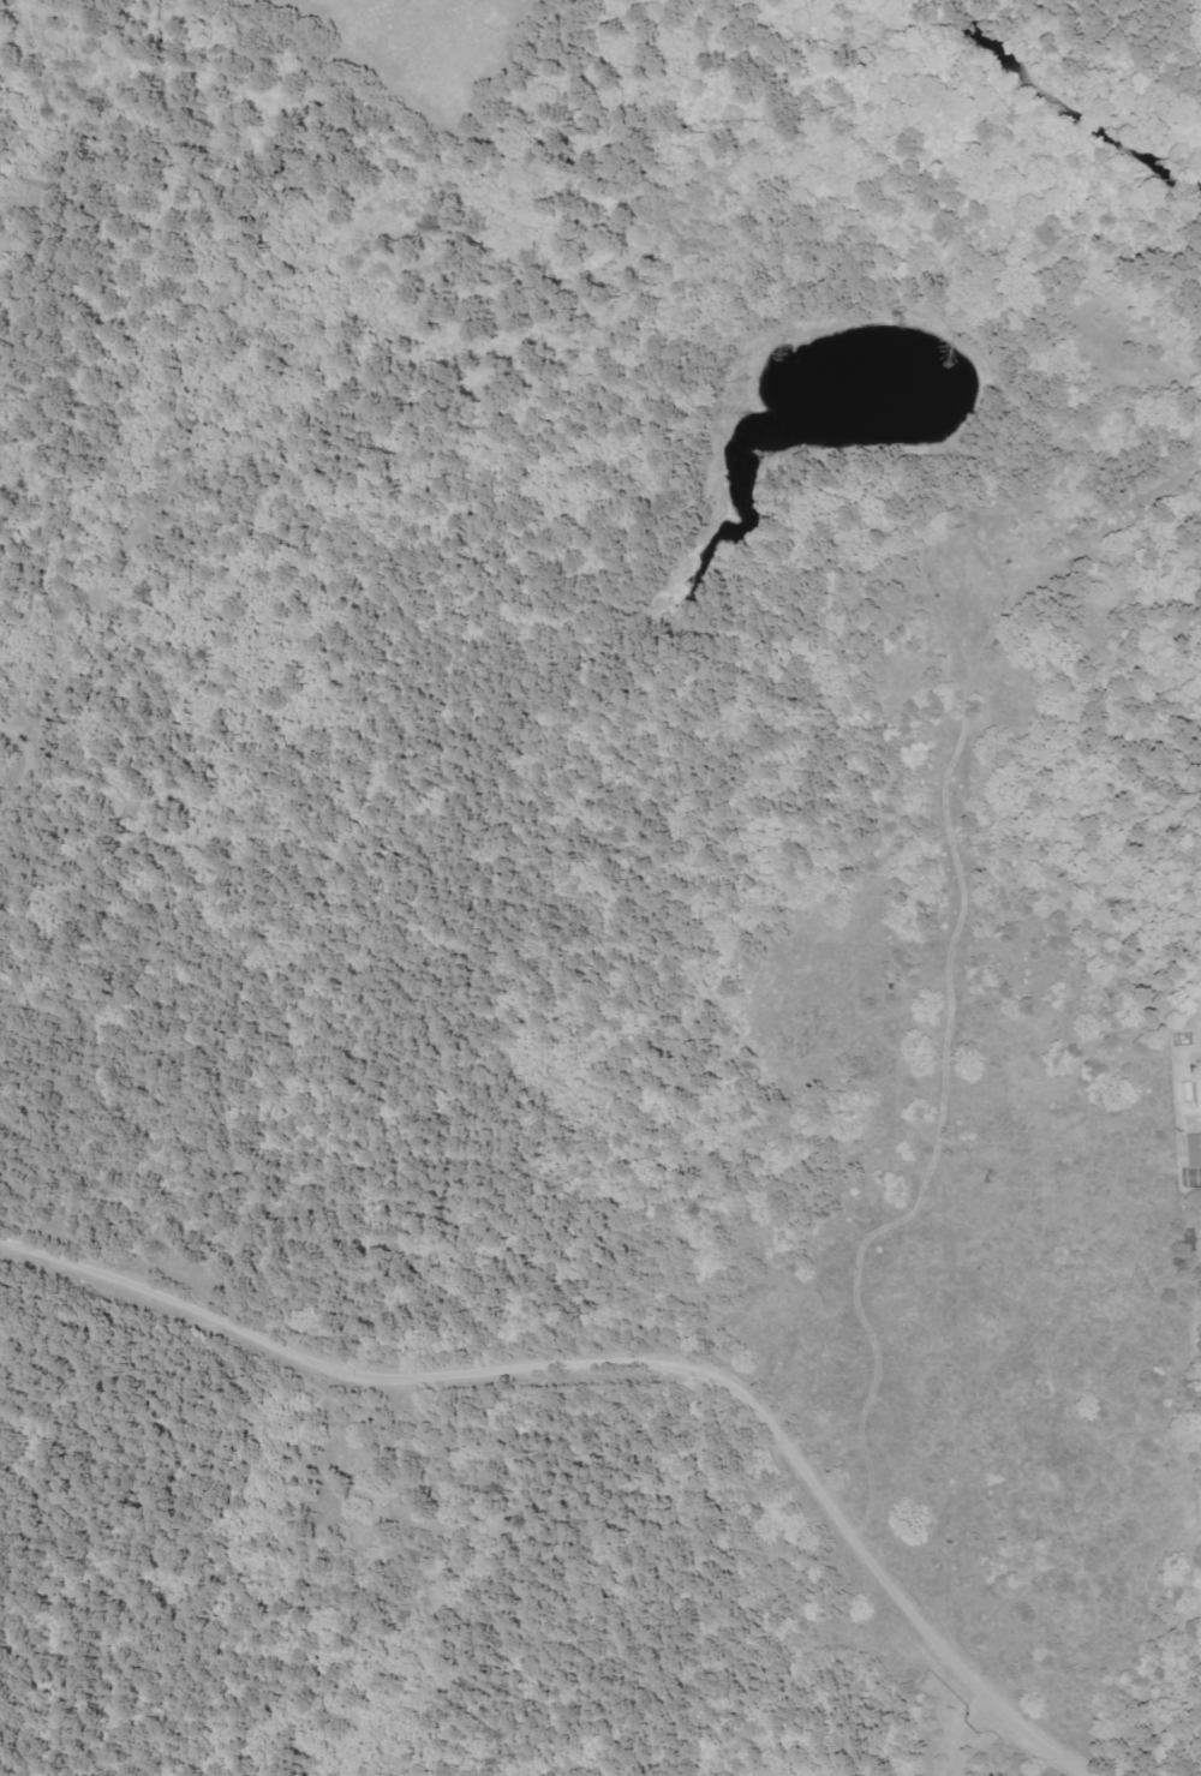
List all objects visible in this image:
building: (1195, 1164)
road: (629, 1358)

